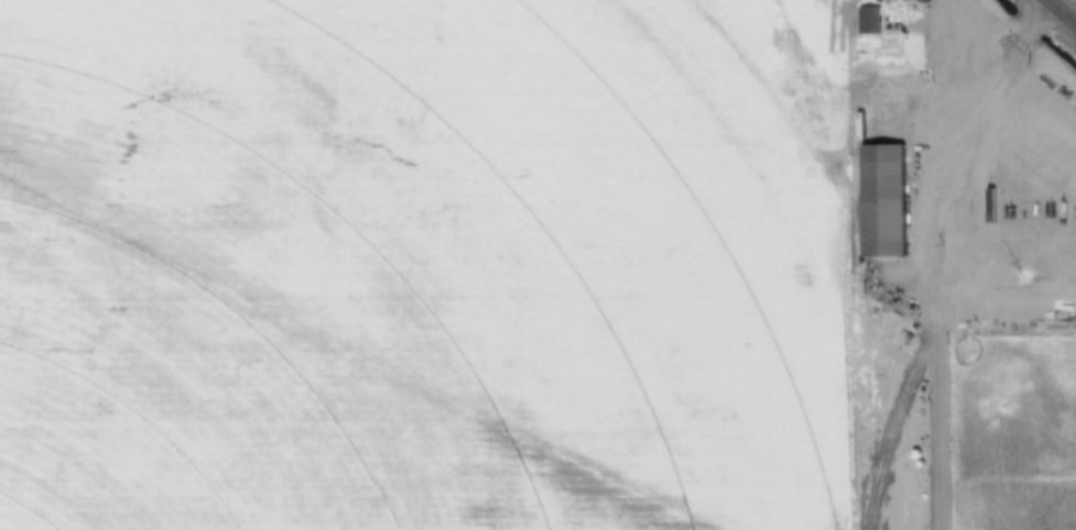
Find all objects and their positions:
building: (891, 1)
road: (1053, 2)
road: (1061, 13)
building: (870, 20)
building: (895, 20)
road: (989, 114)
road: (902, 122)
road: (1048, 159)
road: (1032, 196)
building: (887, 199)
road: (933, 264)
crop: (442, 269)
road: (904, 281)

